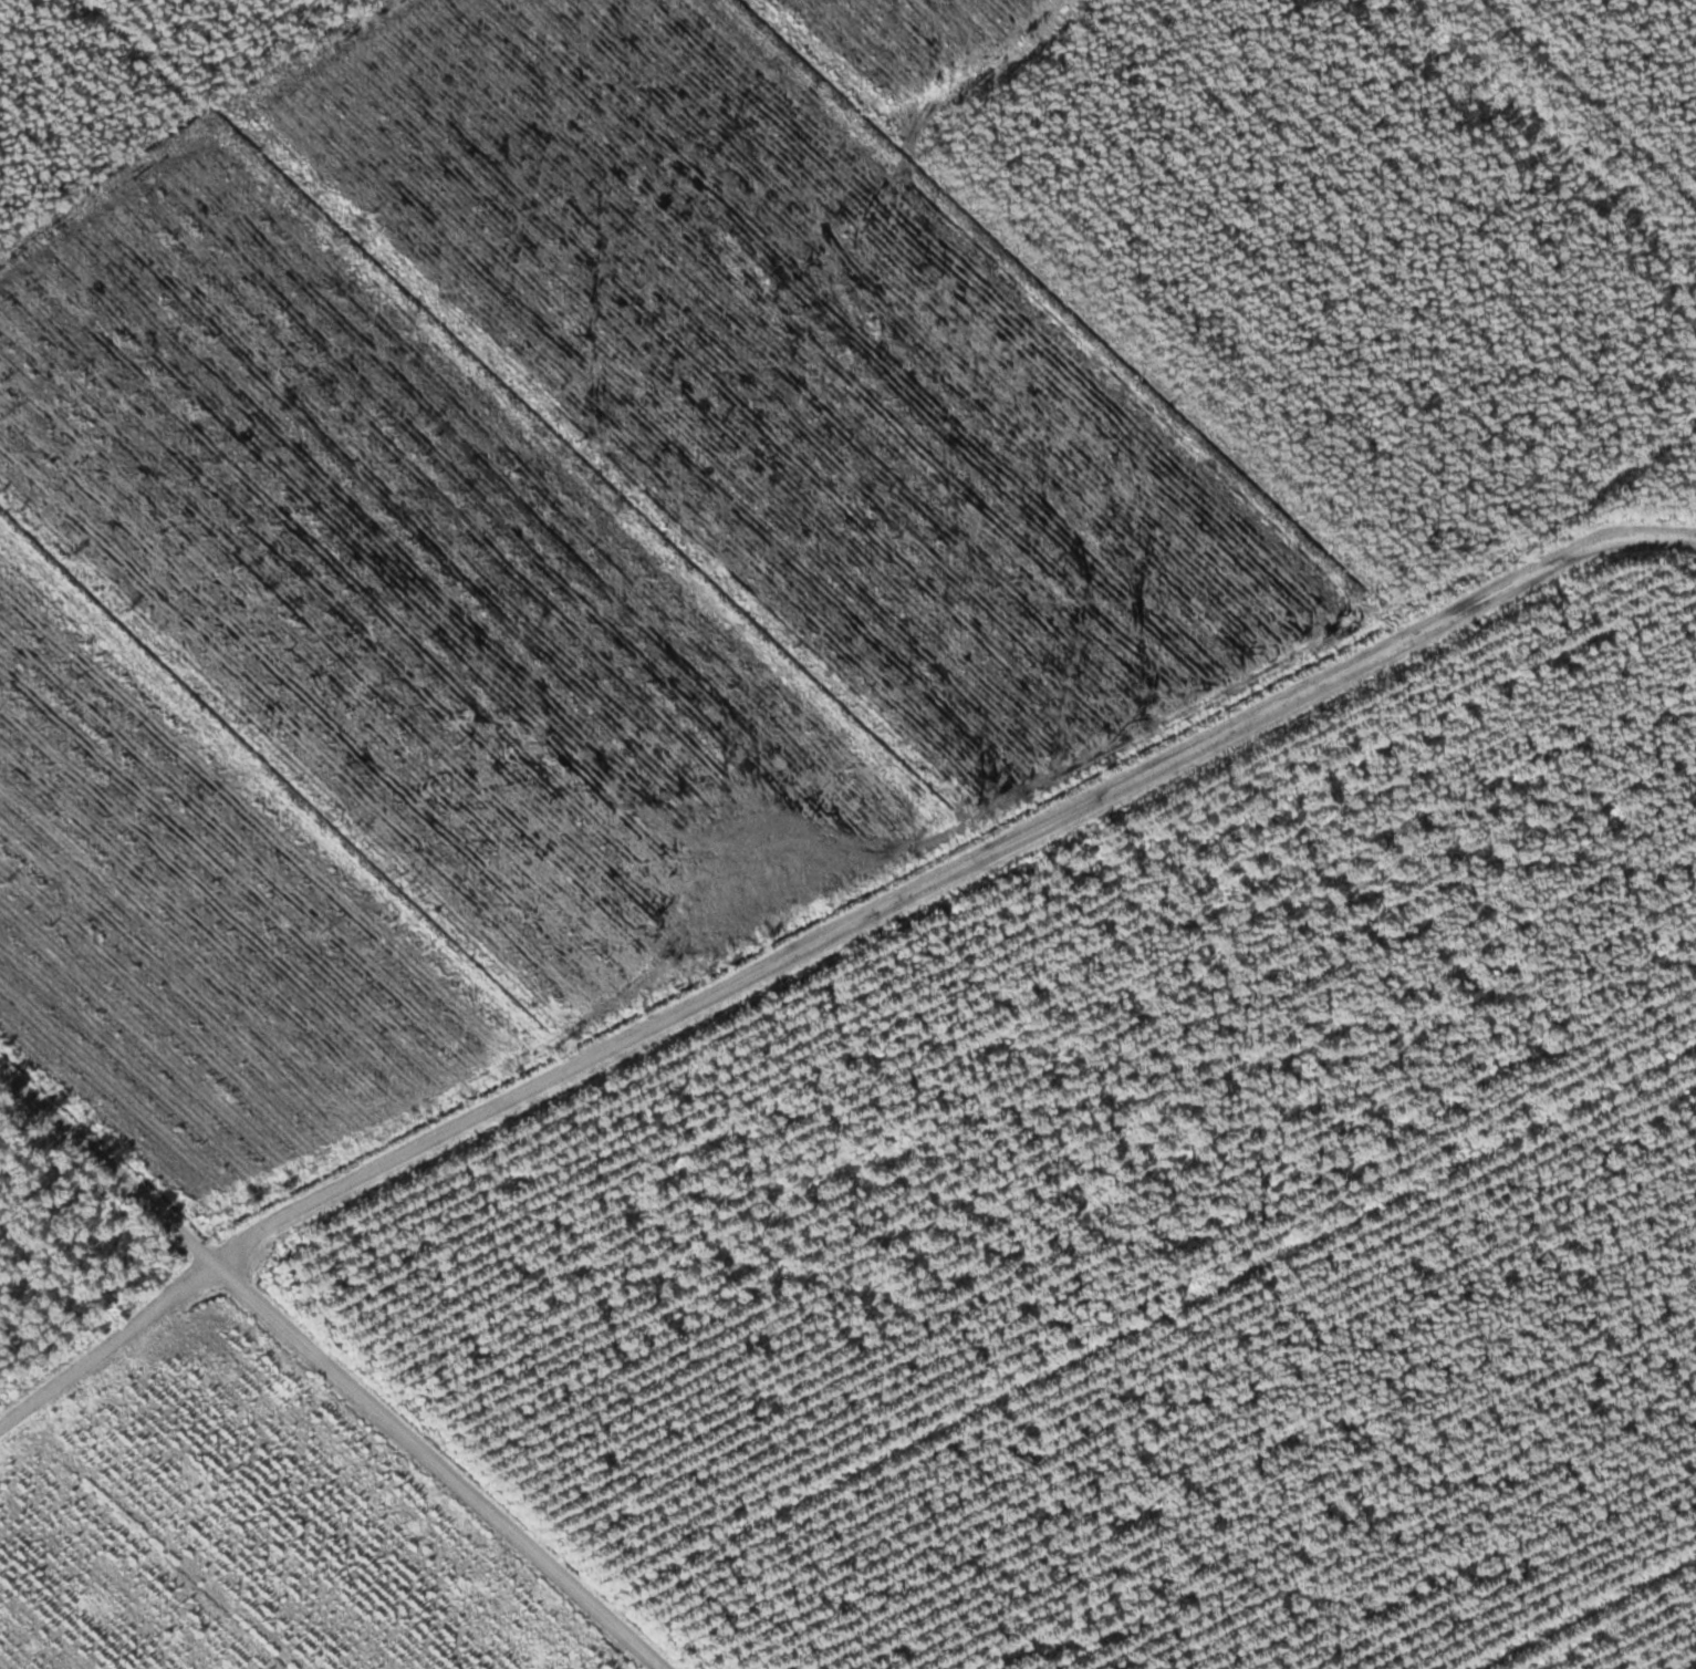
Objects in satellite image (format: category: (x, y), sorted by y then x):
road: (826, 935)
road: (332, 1369)

